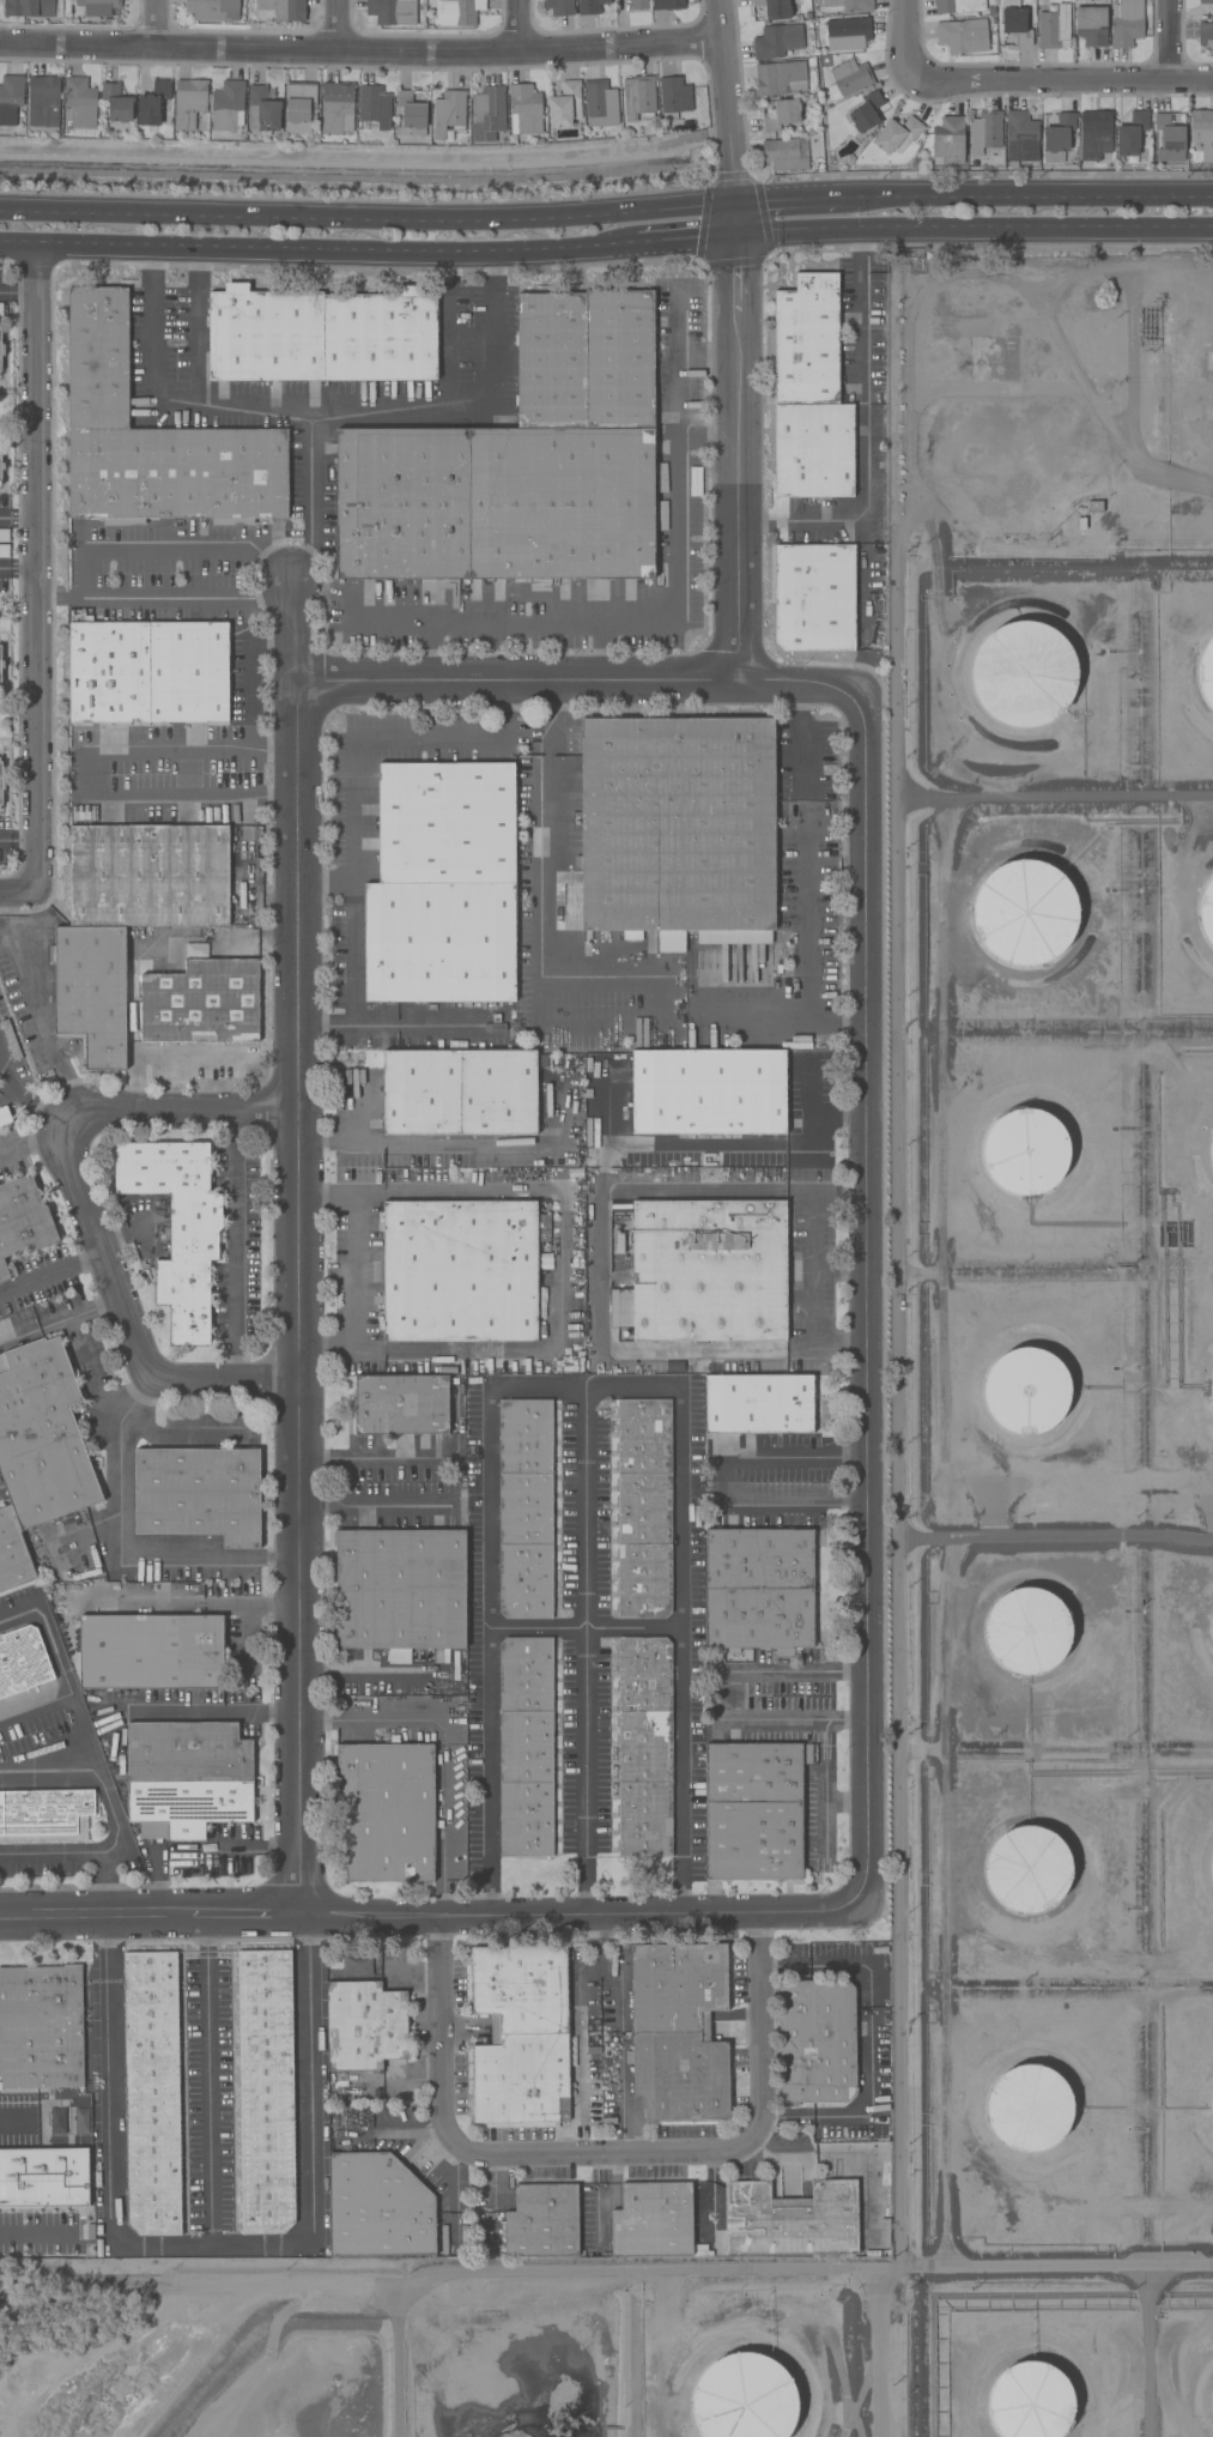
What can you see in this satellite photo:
building: (1206, 1)
building: (638, 5)
building: (668, 5)
building: (590, 6)
building: (847, 6)
building: (958, 6)
building: (559, 7)
building: (29, 8)
building: (283, 8)
building: (774, 8)
building: (213, 10)
building: (991, 10)
building: (96, 11)
building: (392, 11)
building: (457, 12)
building: (1014, 22)
road: (159, 23)
building: (1127, 23)
road: (339, 24)
road: (522, 24)
building: (1091, 25)
building: (1054, 28)
building: (1205, 31)
building: (848, 35)
building: (965, 35)
building: (777, 41)
road: (910, 41)
road: (1167, 41)
road: (362, 49)
building: (812, 62)
building: (780, 78)
building: (848, 78)
road: (1063, 81)
building: (674, 97)
building: (638, 98)
building: (11, 99)
building: (80, 102)
building: (43, 103)
building: (116, 103)
building: (152, 103)
building: (189, 103)
building: (600, 103)
building: (564, 104)
building: (374, 105)
building: (228, 107)
building: (299, 107)
building: (336, 107)
building: (524, 109)
building: (262, 111)
building: (866, 113)
building: (411, 114)
building: (448, 114)
building: (489, 114)
building: (782, 114)
building: (984, 132)
building: (1202, 132)
building: (1093, 134)
building: (1132, 134)
building: (897, 135)
building: (1020, 137)
building: (1057, 138)
building: (1169, 139)
building: (948, 141)
building: (786, 155)
road: (365, 157)
road: (1027, 195)
road: (790, 199)
traffic signals: (736, 200)
road: (368, 218)
road: (975, 228)
road: (685, 236)
traffic signals: (739, 236)
road: (316, 247)
road: (854, 252)
road: (20, 295)
building: (0, 309)
building: (326, 334)
road: (739, 335)
building: (806, 340)
road: (495, 349)
building: (0, 351)
road: (709, 357)
road: (678, 359)
road: (399, 403)
road: (175, 406)
building: (156, 436)
building: (813, 450)
building: (523, 461)
road: (863, 462)
building: (0, 464)
road: (311, 467)
road: (18, 515)
road: (832, 522)
road: (770, 524)
road: (169, 552)
road: (35, 570)
road: (17, 572)
building: (814, 597)
road: (166, 598)
road: (641, 619)
road: (604, 647)
building: (0, 665)
building: (150, 672)
road: (868, 672)
building: (1024, 673)
storage tank: (1024, 673)
building: (1206, 673)
storage tank: (1206, 673)
road: (586, 676)
road: (248, 690)
road: (558, 718)
road: (801, 743)
road: (87, 773)
building: (0, 781)
building: (679, 828)
road: (14, 835)
road: (353, 854)
building: (151, 875)
road: (326, 878)
building: (444, 888)
road: (14, 897)
building: (1207, 912)
storage tank: (1207, 912)
building: (1024, 913)
storage tank: (1024, 913)
road: (138, 948)
building: (93, 993)
building: (205, 1004)
road: (655, 1006)
road: (819, 1018)
road: (853, 1018)
road: (48, 1033)
road: (325, 1038)
road: (186, 1054)
building: (461, 1095)
building: (708, 1095)
road: (5, 1097)
road: (19, 1100)
road: (463, 1145)
road: (752, 1145)
building: (1025, 1151)
storage tank: (1025, 1151)
building: (1211, 1151)
storage tank: (1211, 1151)
road: (32, 1153)
road: (827, 1187)
road: (693, 1189)
road: (341, 1192)
road: (456, 1192)
road: (91, 1207)
building: (24, 1217)
road: (813, 1222)
building: (181, 1224)
road: (297, 1244)
road: (233, 1245)
road: (357, 1269)
road: (53, 1271)
road: (601, 1271)
building: (708, 1272)
building: (460, 1274)
road: (813, 1277)
road: (869, 1300)
road: (34, 1332)
road: (560, 1344)
road: (327, 1348)
road: (369, 1350)
road: (827, 1353)
road: (695, 1354)
building: (1212, 1361)
road: (86, 1372)
road: (903, 1378)
road: (534, 1384)
building: (1026, 1391)
storage tank: (1026, 1391)
building: (1212, 1391)
storage tank: (1212, 1391)
building: (758, 1405)
building: (401, 1407)
building: (43, 1434)
road: (376, 1458)
road: (722, 1481)
building: (202, 1494)
road: (377, 1500)
building: (526, 1508)
road: (121, 1511)
building: (644, 1512)
building: (14, 1553)
building: (760, 1589)
building: (399, 1591)
road: (687, 1595)
road: (183, 1608)
road: (584, 1628)
building: (1212, 1629)
storage tank: (1212, 1629)
building: (1027, 1631)
storage tank: (1027, 1631)
building: (152, 1653)
building: (1211, 1655)
building: (24, 1662)
road: (728, 1694)
road: (34, 1704)
road: (74, 1711)
road: (206, 1716)
road: (445, 1741)
building: (645, 1747)
building: (524, 1748)
building: (190, 1778)
road: (831, 1802)
road: (113, 1808)
building: (387, 1813)
building: (756, 1813)
building: (48, 1818)
road: (193, 1850)
road: (83, 1854)
building: (1212, 1864)
storage tank: (1212, 1864)
building: (1027, 1869)
storage tank: (1027, 1869)
road: (435, 1911)
road: (206, 1941)
building: (357, 1964)
road: (825, 1966)
building: (364, 2025)
road: (577, 2026)
building: (41, 2027)
building: (679, 2031)
building: (521, 2034)
building: (817, 2042)
building: (265, 2091)
building: (151, 2093)
road: (621, 2103)
road: (208, 2105)
building: (1029, 2108)
storage tank: (1029, 2108)
road: (862, 2117)
road: (604, 2152)
building: (43, 2176)
building: (377, 2208)
building: (653, 2219)
building: (800, 2220)
building: (542, 2221)
road: (30, 2232)
road: (211, 2241)
building: (699, 2250)
road: (1048, 2264)
road: (569, 2273)
road: (883, 2352)
building: (1212, 2378)
building: (744, 2397)
storage tank: (744, 2397)
building: (1030, 2401)
storage tank: (1030, 2401)

